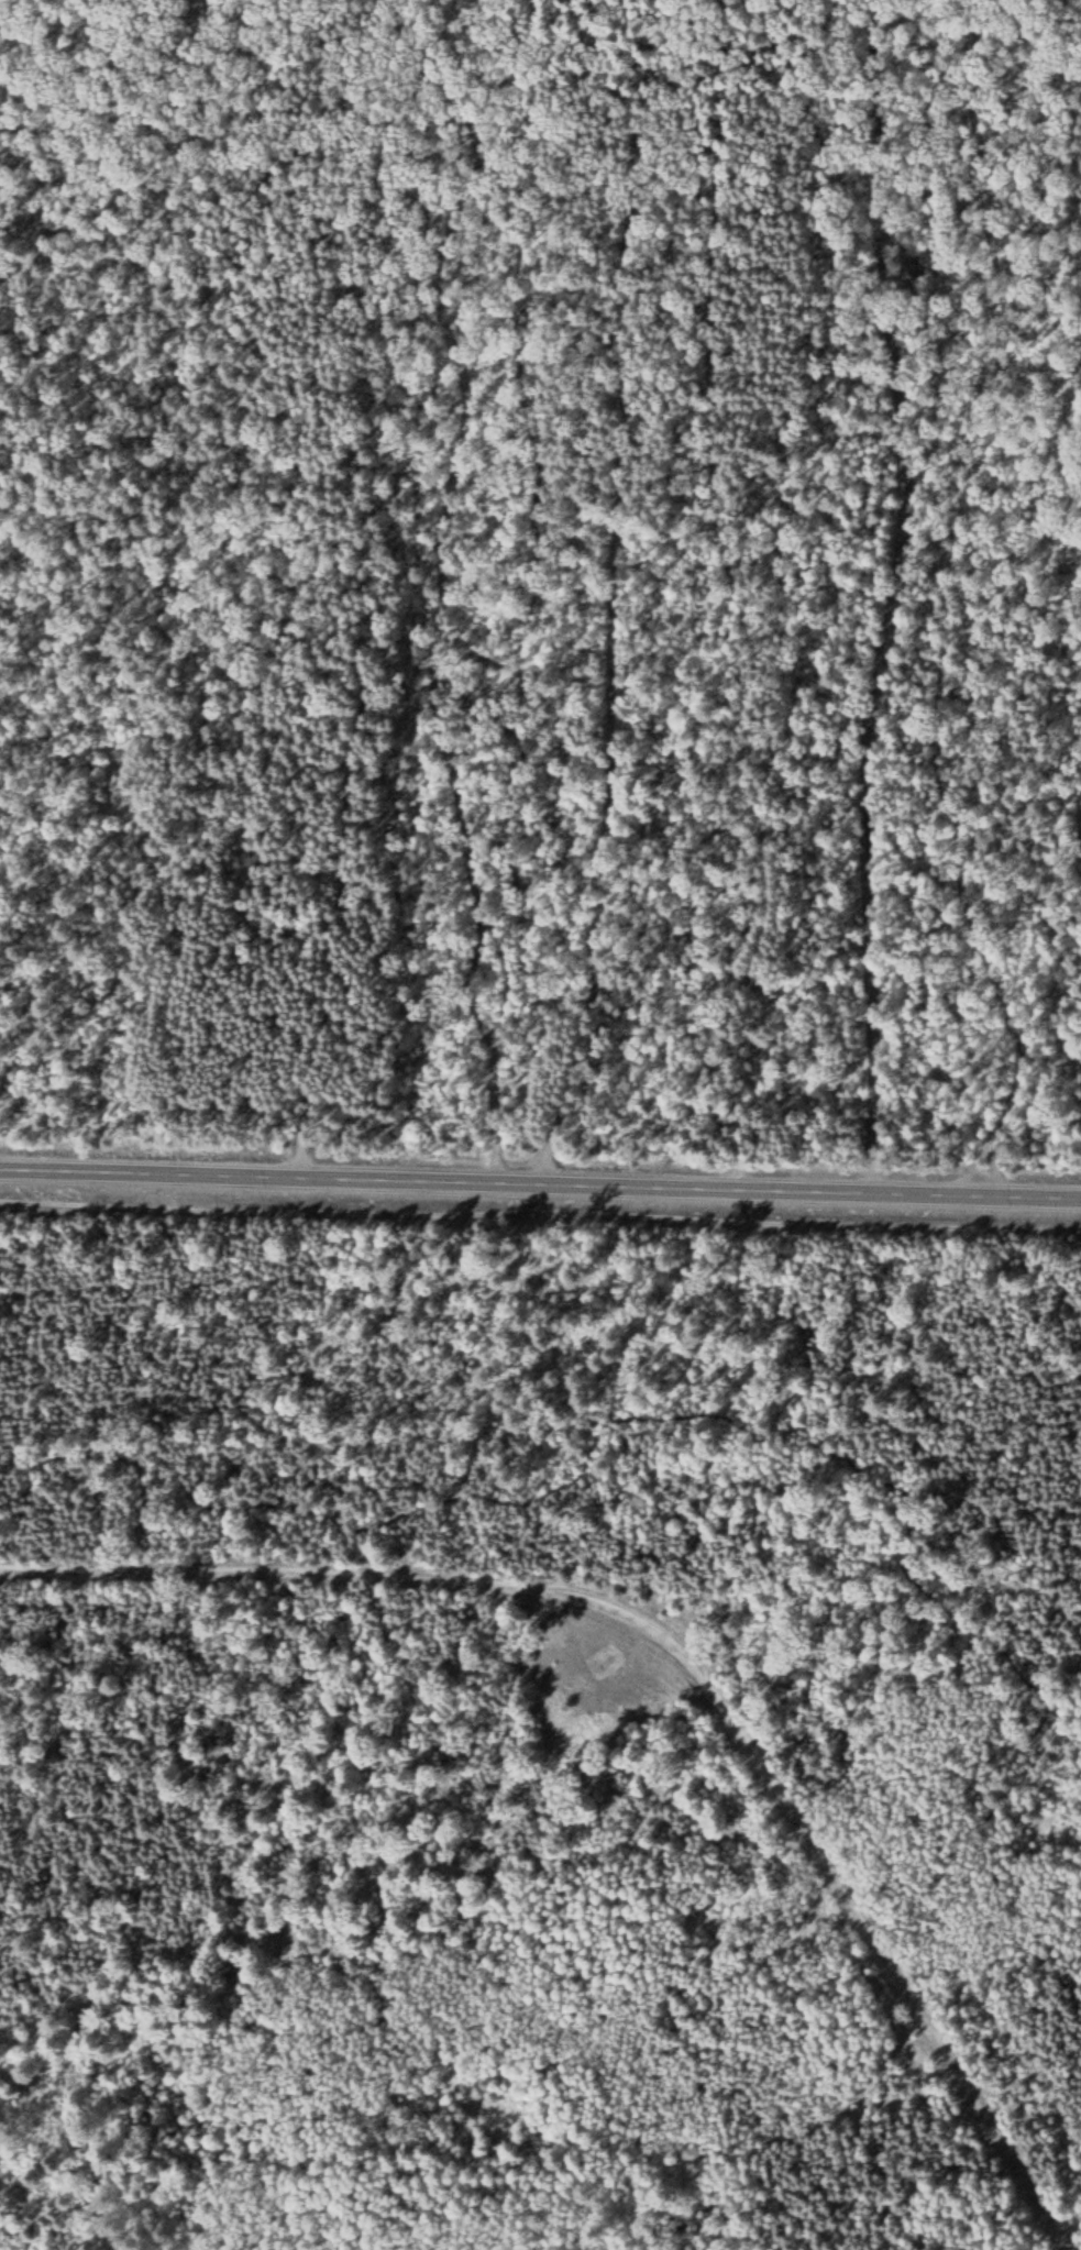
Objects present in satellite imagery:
road: (930, 101)
road: (448, 596)
road: (611, 596)
road: (754, 597)
road: (881, 597)
road: (328, 599)
road: (540, 1190)
road: (540, 1221)
road: (766, 1425)
road: (685, 1657)

